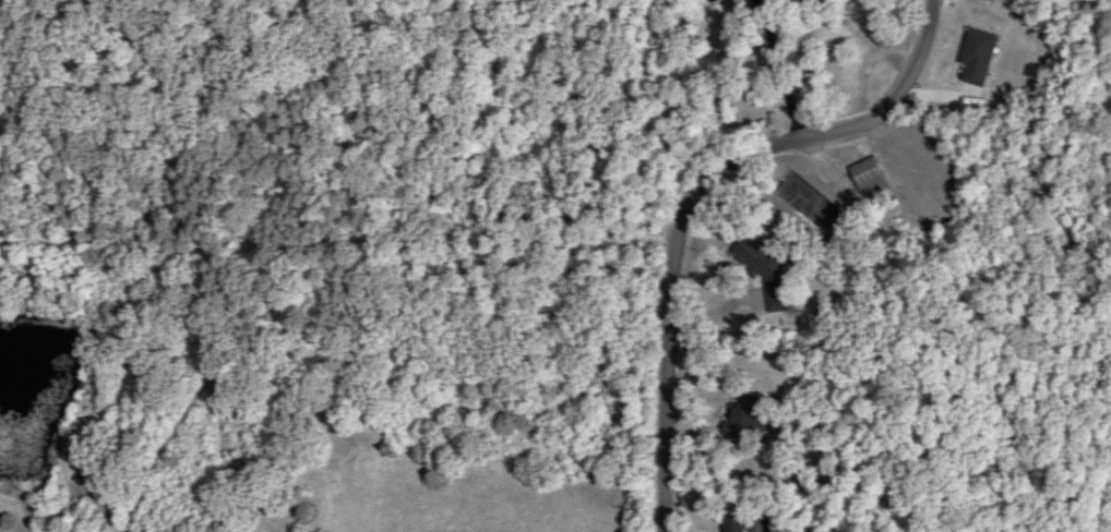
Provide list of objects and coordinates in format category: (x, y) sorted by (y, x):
road: (786, 71)
road: (734, 174)
building: (865, 178)
building: (761, 270)
building: (739, 421)
road: (672, 487)
building: (730, 522)

